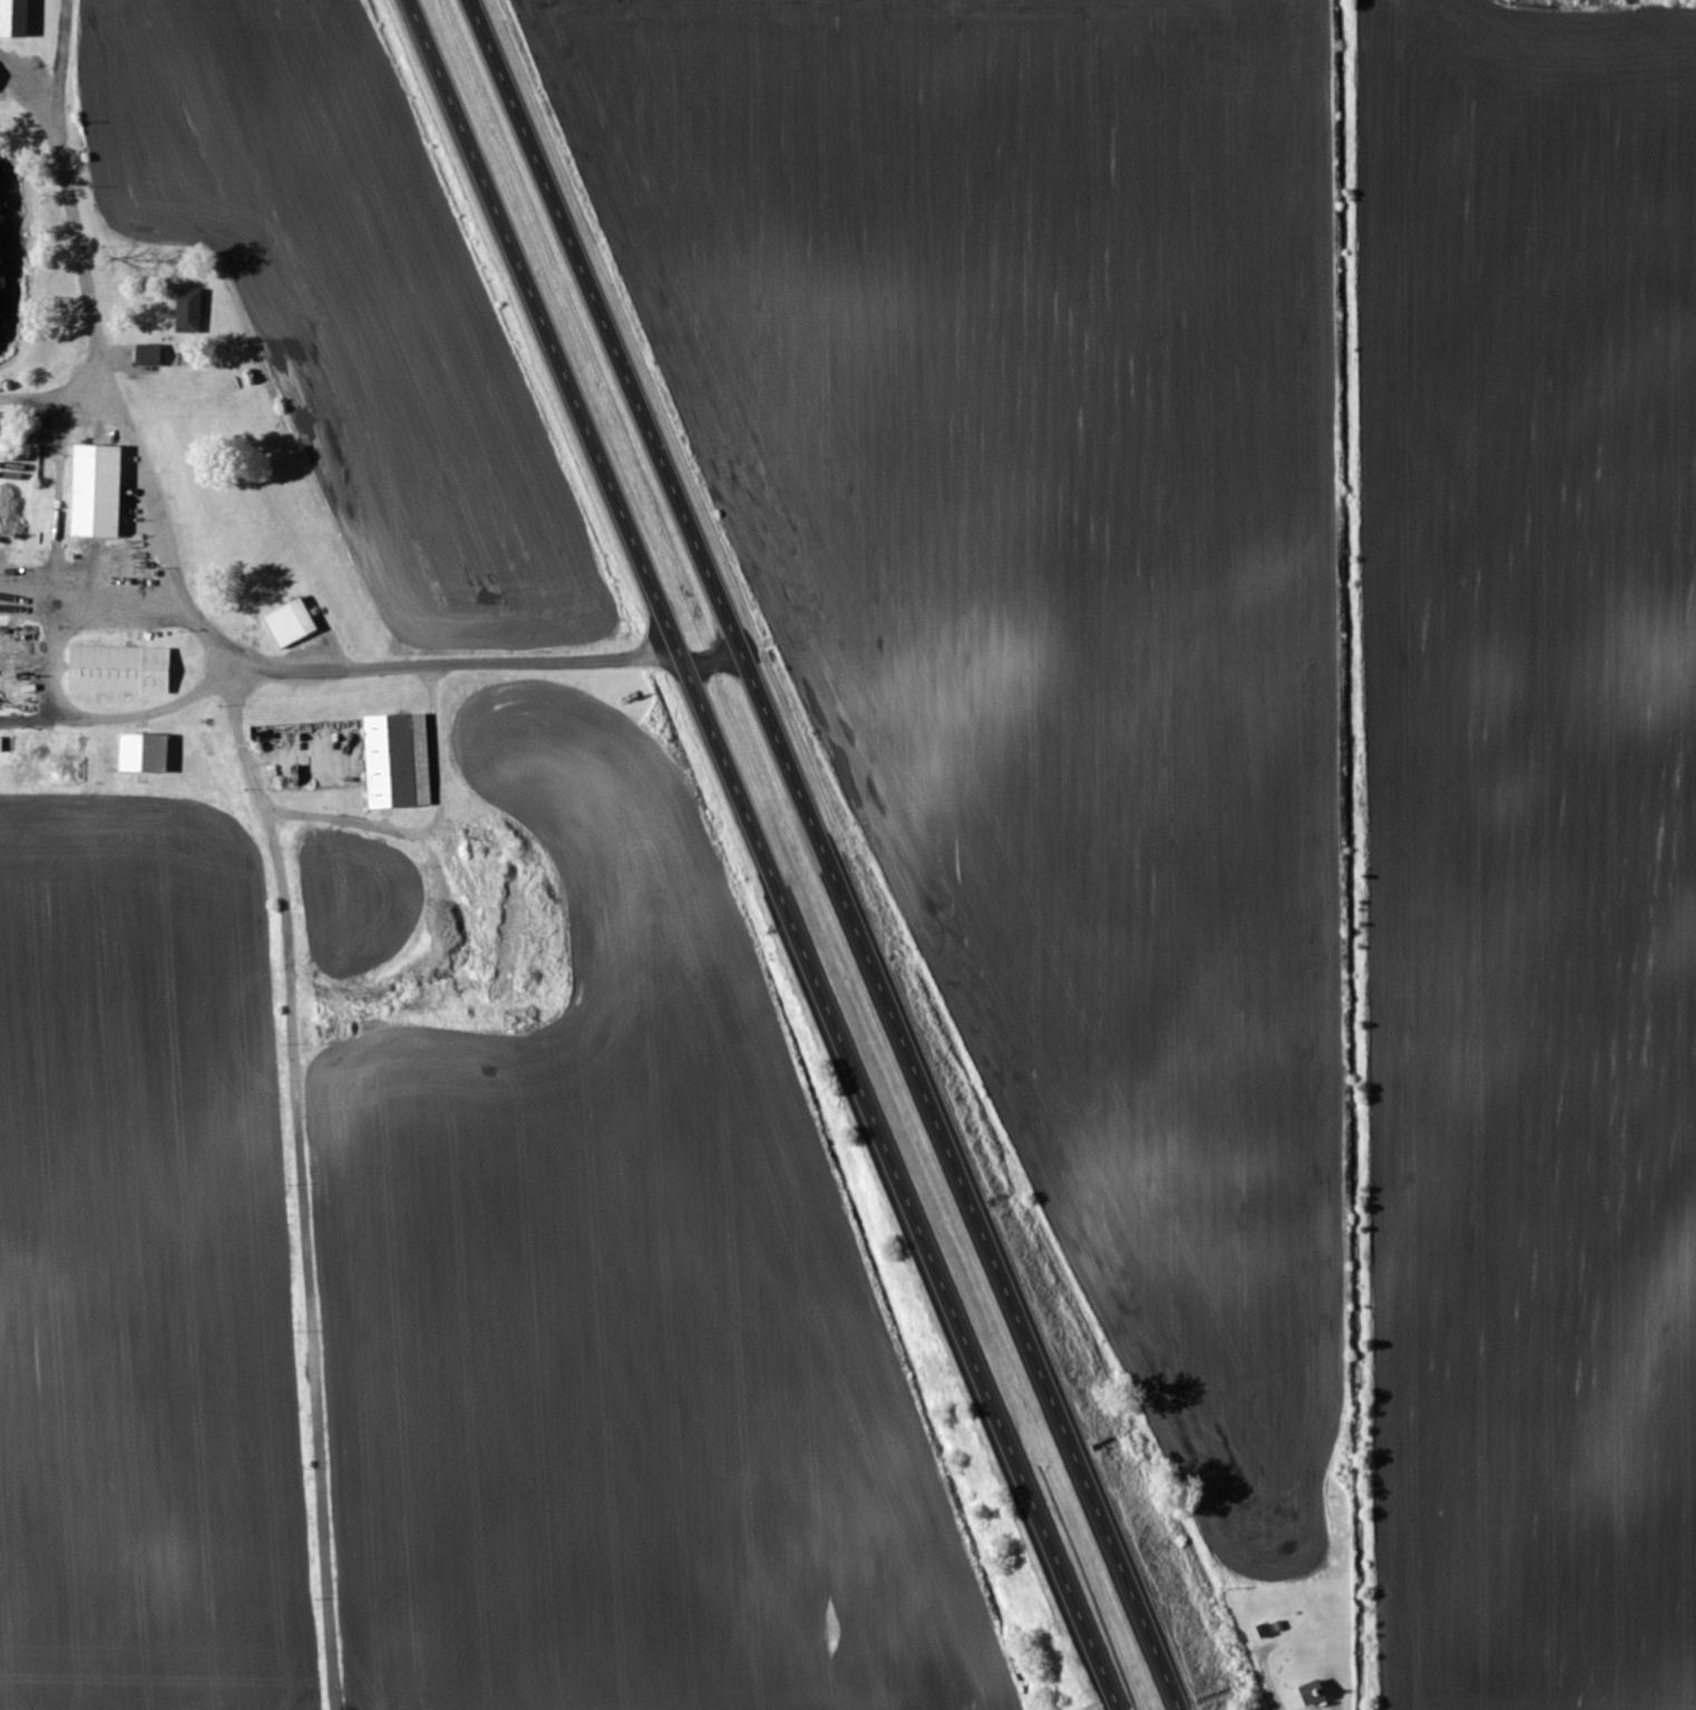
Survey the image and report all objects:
building: (25, 19)
road: (33, 67)
building: (196, 312)
building: (157, 357)
road: (60, 397)
building: (107, 494)
road: (173, 574)
road: (95, 593)
building: (290, 622)
road: (722, 641)
building: (128, 671)
road: (86, 718)
building: (154, 756)
building: (398, 760)
road: (427, 826)
road: (779, 853)
road: (842, 854)
road: (310, 1192)
road: (1269, 1678)
building: (1309, 1691)

